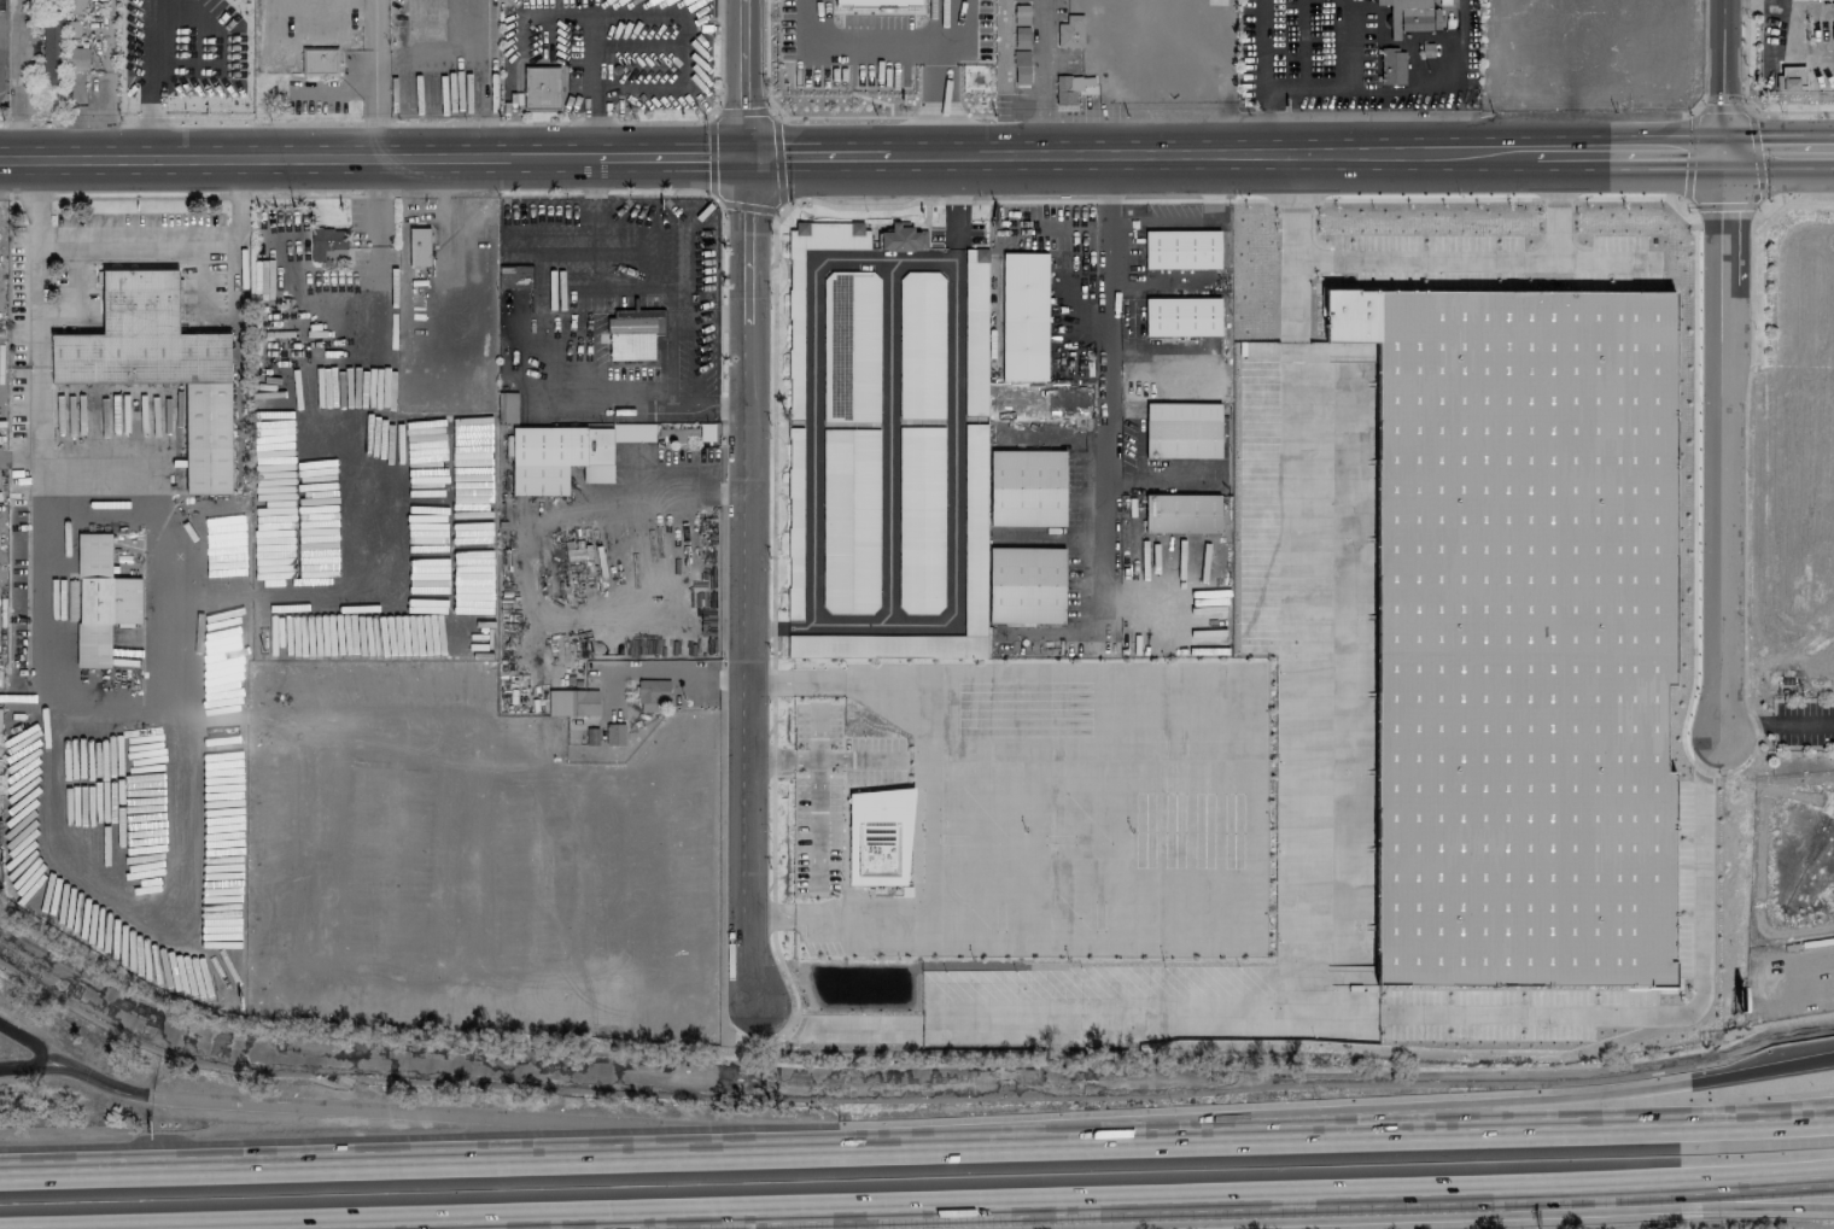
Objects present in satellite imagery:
building: (1021, 0)
building: (1795, 0)
building: (876, 2)
road: (1309, 11)
building: (1021, 14)
building: (1407, 16)
building: (1070, 31)
road: (594, 36)
building: (1021, 37)
road: (863, 39)
building: (51, 49)
building: (77, 58)
road: (1310, 58)
building: (1021, 66)
building: (1391, 66)
road: (1267, 76)
road: (373, 77)
road: (749, 77)
road: (936, 77)
road: (1045, 77)
road: (1725, 77)
road: (151, 78)
building: (1791, 78)
road: (1312, 86)
building: (542, 88)
road: (668, 88)
building: (1073, 88)
road: (1409, 89)
road: (484, 93)
road: (674, 154)
road: (819, 154)
road: (1211, 154)
road: (1780, 154)
road: (1631, 156)
road: (298, 157)
building: (903, 238)
road: (179, 241)
road: (34, 244)
building: (327, 244)
building: (417, 246)
building: (1181, 250)
road: (1427, 252)
building: (1024, 316)
building: (1181, 316)
building: (975, 332)
building: (633, 333)
building: (795, 333)
building: (921, 345)
building: (851, 346)
road: (370, 362)
building: (158, 364)
road: (547, 370)
road: (1103, 397)
building: (1182, 429)
road: (1724, 446)
building: (567, 455)
road: (636, 479)
road: (734, 484)
building: (1027, 487)
building: (1181, 513)
building: (921, 520)
building: (849, 521)
building: (794, 523)
building: (974, 529)
road: (750, 577)
building: (1026, 585)
building: (101, 599)
road: (870, 626)
road: (671, 675)
building: (652, 693)
building: (572, 702)
road: (1776, 721)
building: (614, 733)
road: (822, 760)
road: (816, 825)
building: (878, 836)
road: (110, 882)
road: (1677, 1007)
road: (42, 1066)
road: (1570, 1098)
road: (395, 1111)
road: (917, 1151)
road: (1582, 1190)
road: (736, 1212)
road: (1581, 1213)

